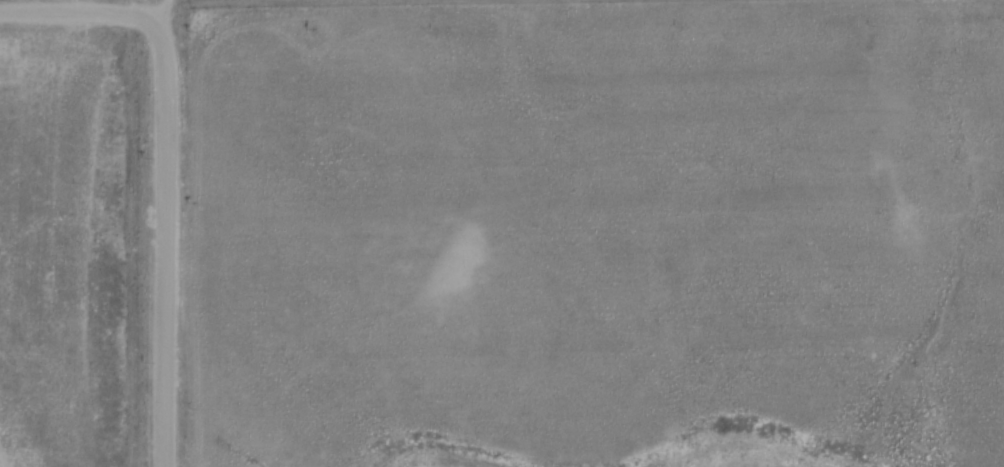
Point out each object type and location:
road: (79, 12)
road: (166, 230)

